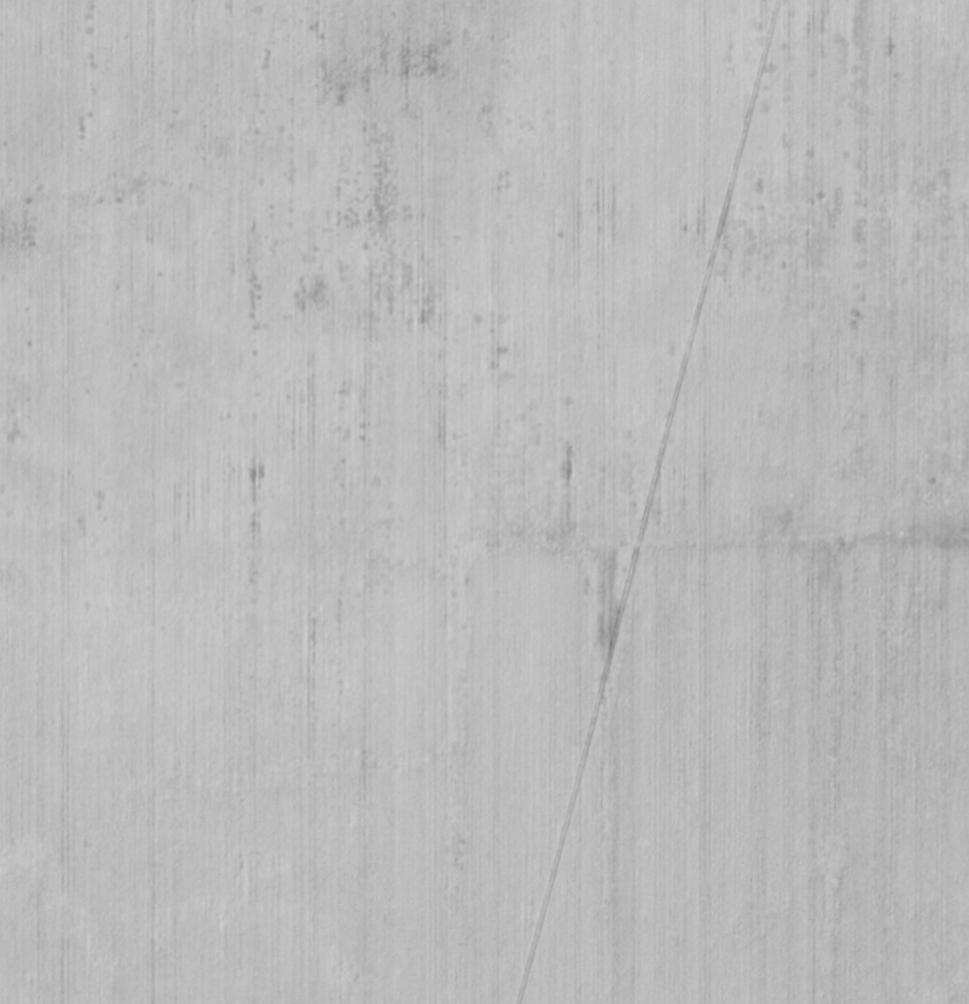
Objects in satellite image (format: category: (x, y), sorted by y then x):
crop: (484, 502)

